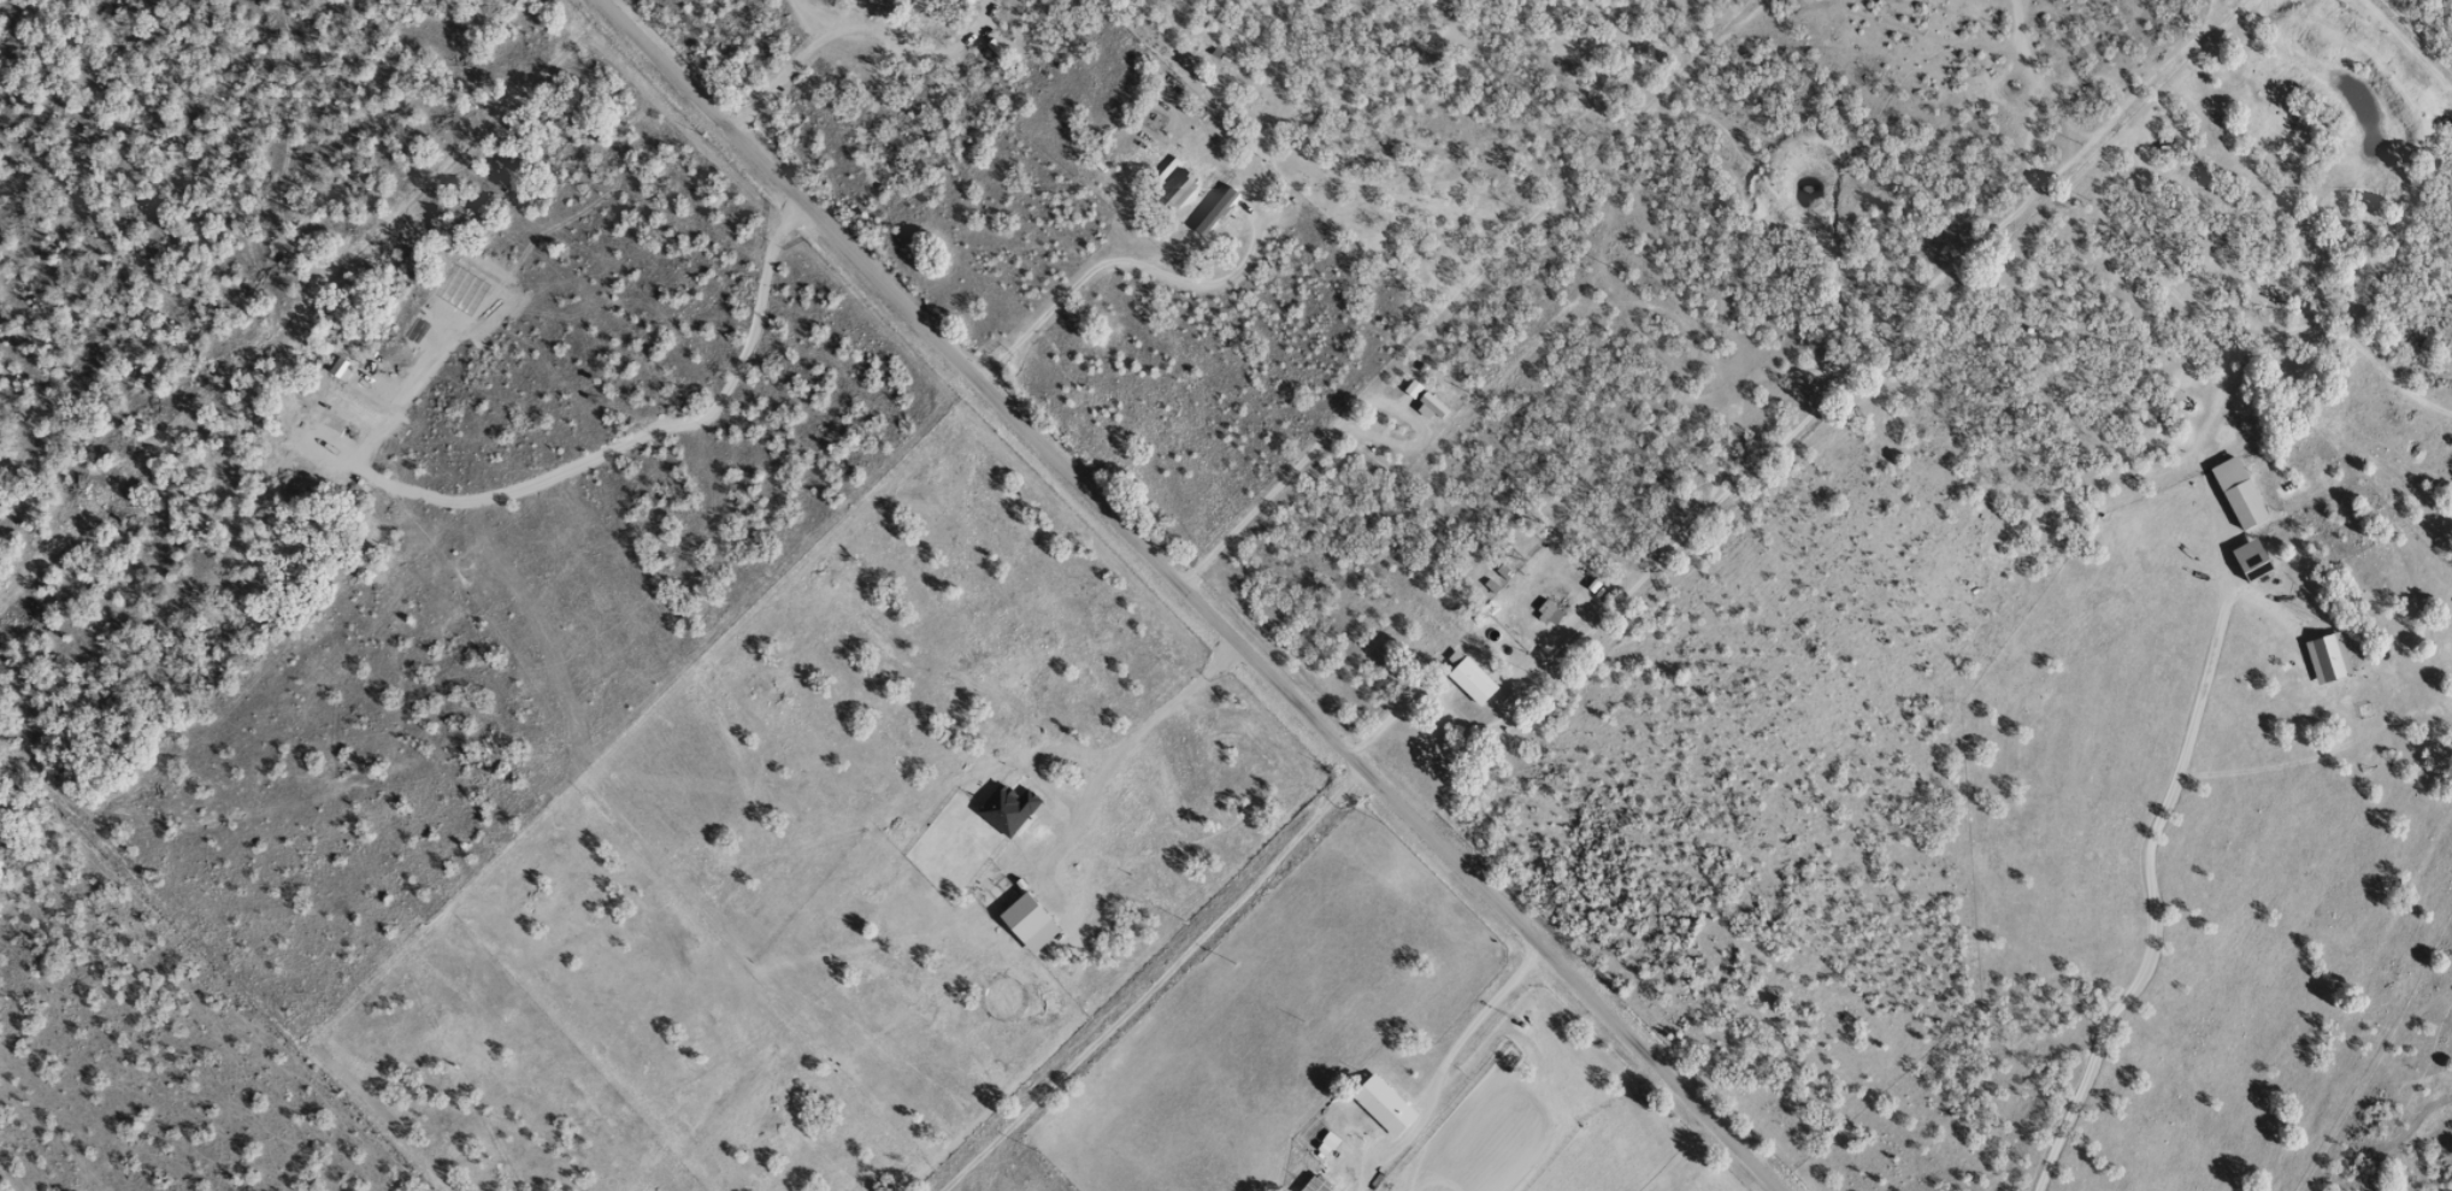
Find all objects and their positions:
building: (874, 2)
building: (1172, 190)
road: (947, 396)
road: (1752, 526)
building: (2245, 560)
building: (1545, 611)
building: (2323, 658)
building: (1468, 680)
road: (1522, 984)
road: (1115, 997)
building: (1379, 1104)
building: (1321, 1145)
building: (1312, 1184)

